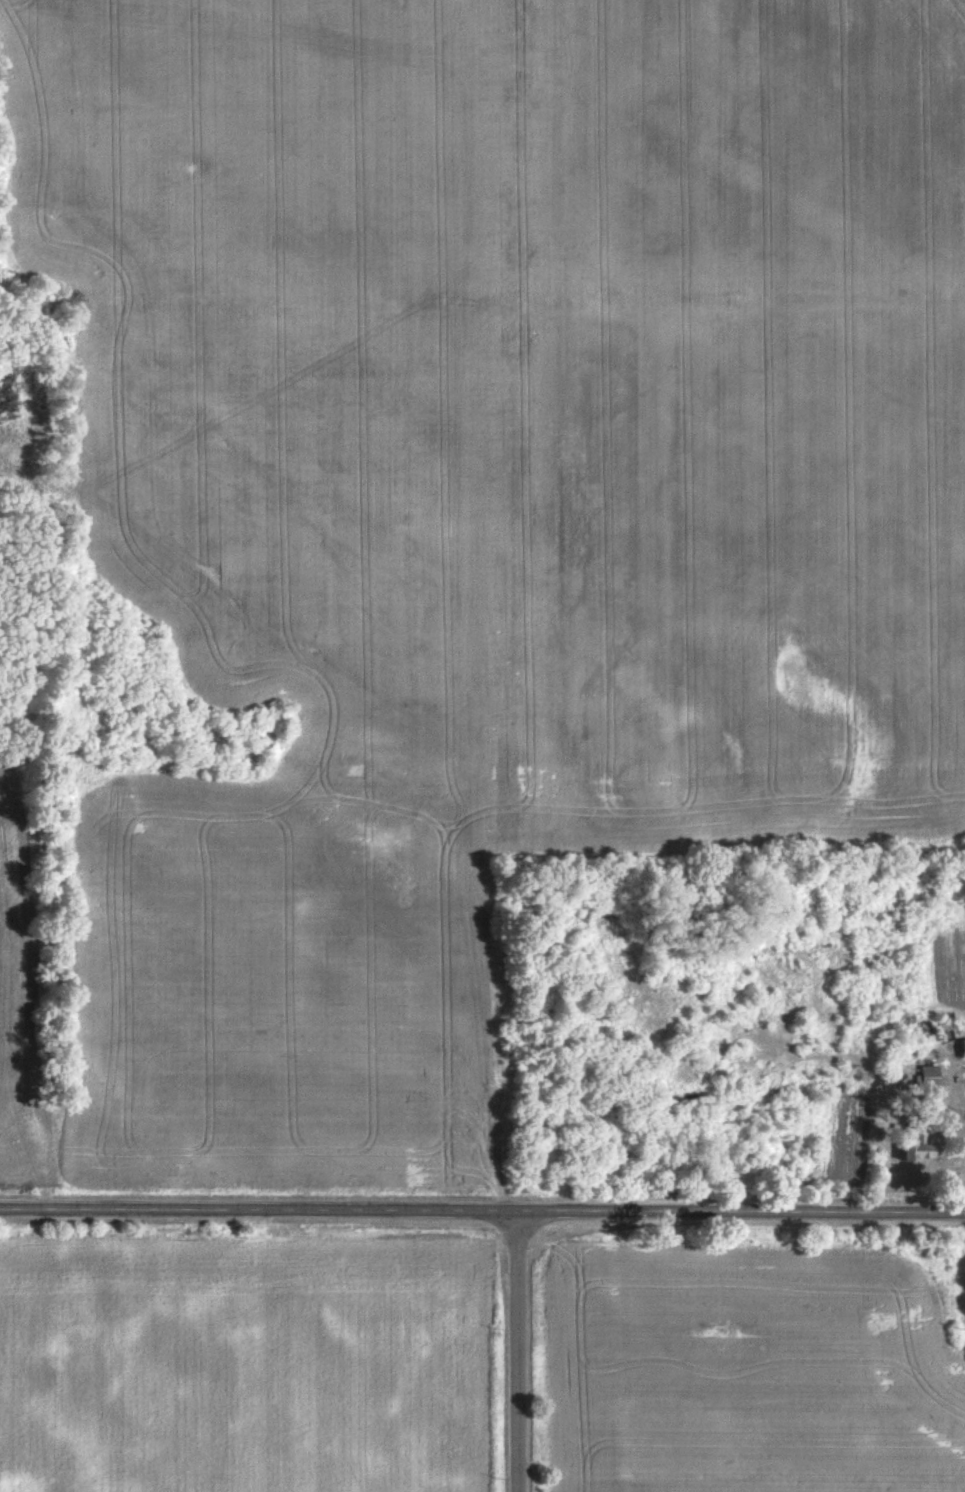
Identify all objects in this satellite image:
building: (960, 1048)
building: (926, 1074)
building: (907, 1147)
road: (482, 1210)
road: (516, 1351)

